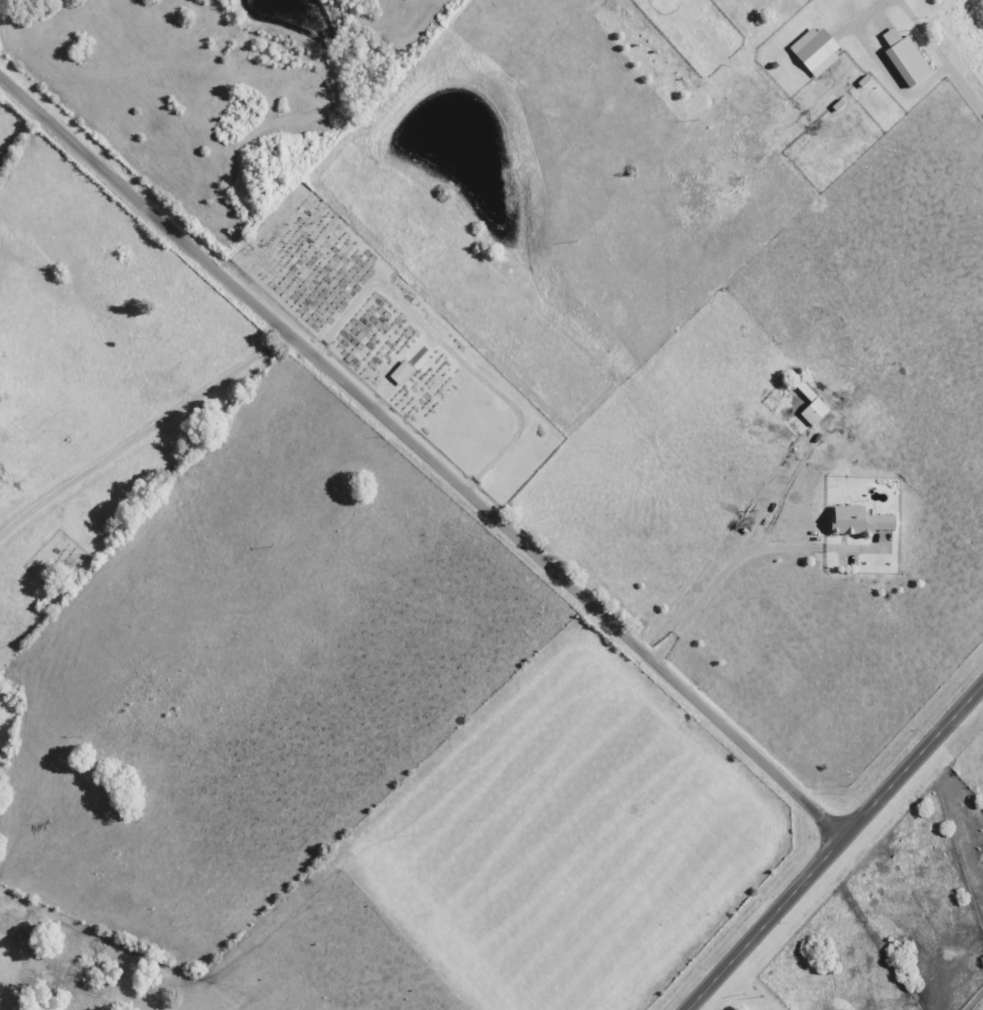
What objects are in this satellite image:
road: (957, 40)
building: (815, 51)
building: (906, 59)
park: (392, 344)
building: (402, 374)
building: (812, 407)
road: (137, 413)
road: (420, 456)
building: (859, 522)
road: (735, 560)
park: (50, 563)
road: (836, 846)

